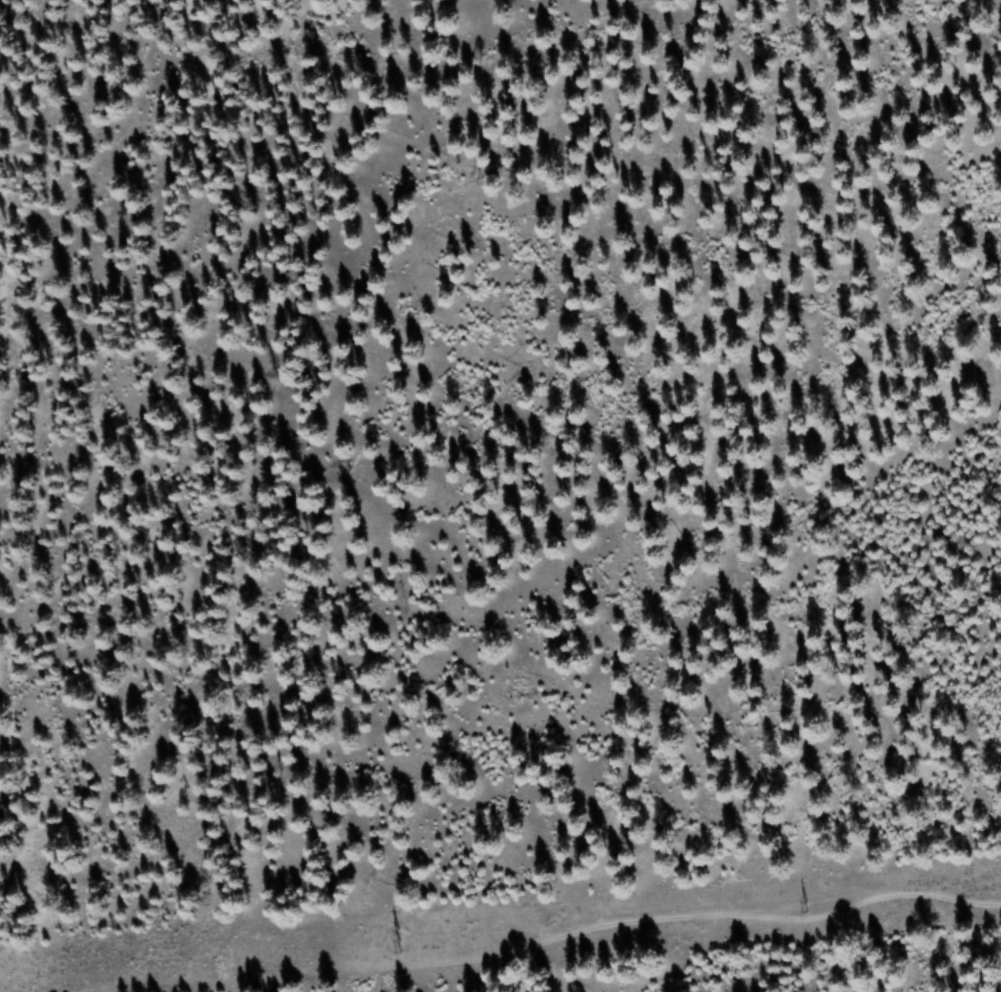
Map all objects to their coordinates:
power tower: (804, 903)
power tower: (400, 938)

